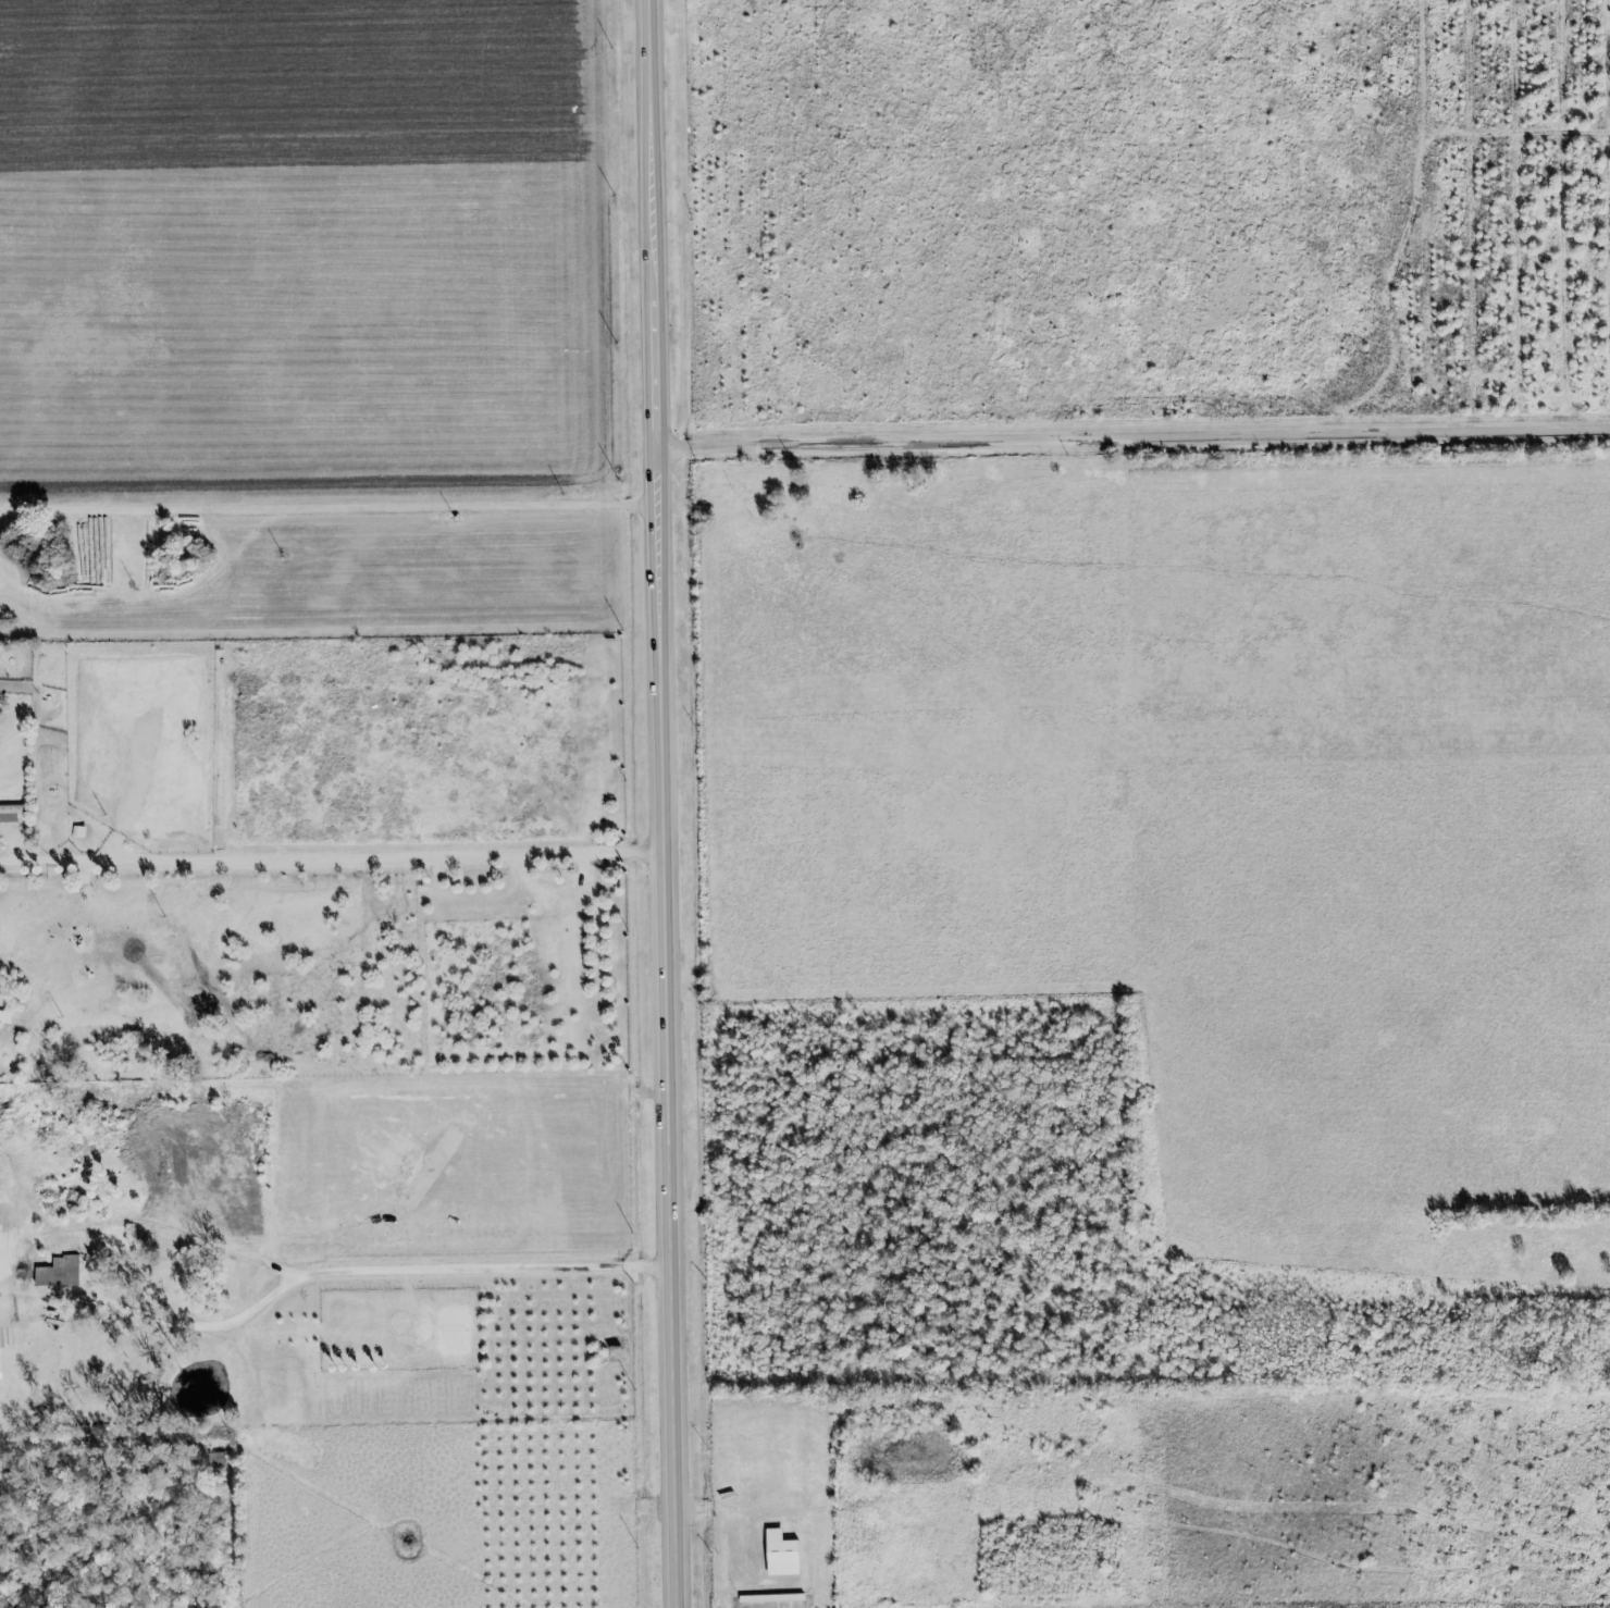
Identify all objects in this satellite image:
road: (1136, 435)
road: (331, 510)
road: (666, 803)
road: (383, 856)
road: (49, 861)
building: (4, 1017)
building: (55, 1273)
road: (431, 1277)
road: (112, 1312)
building: (778, 1555)

